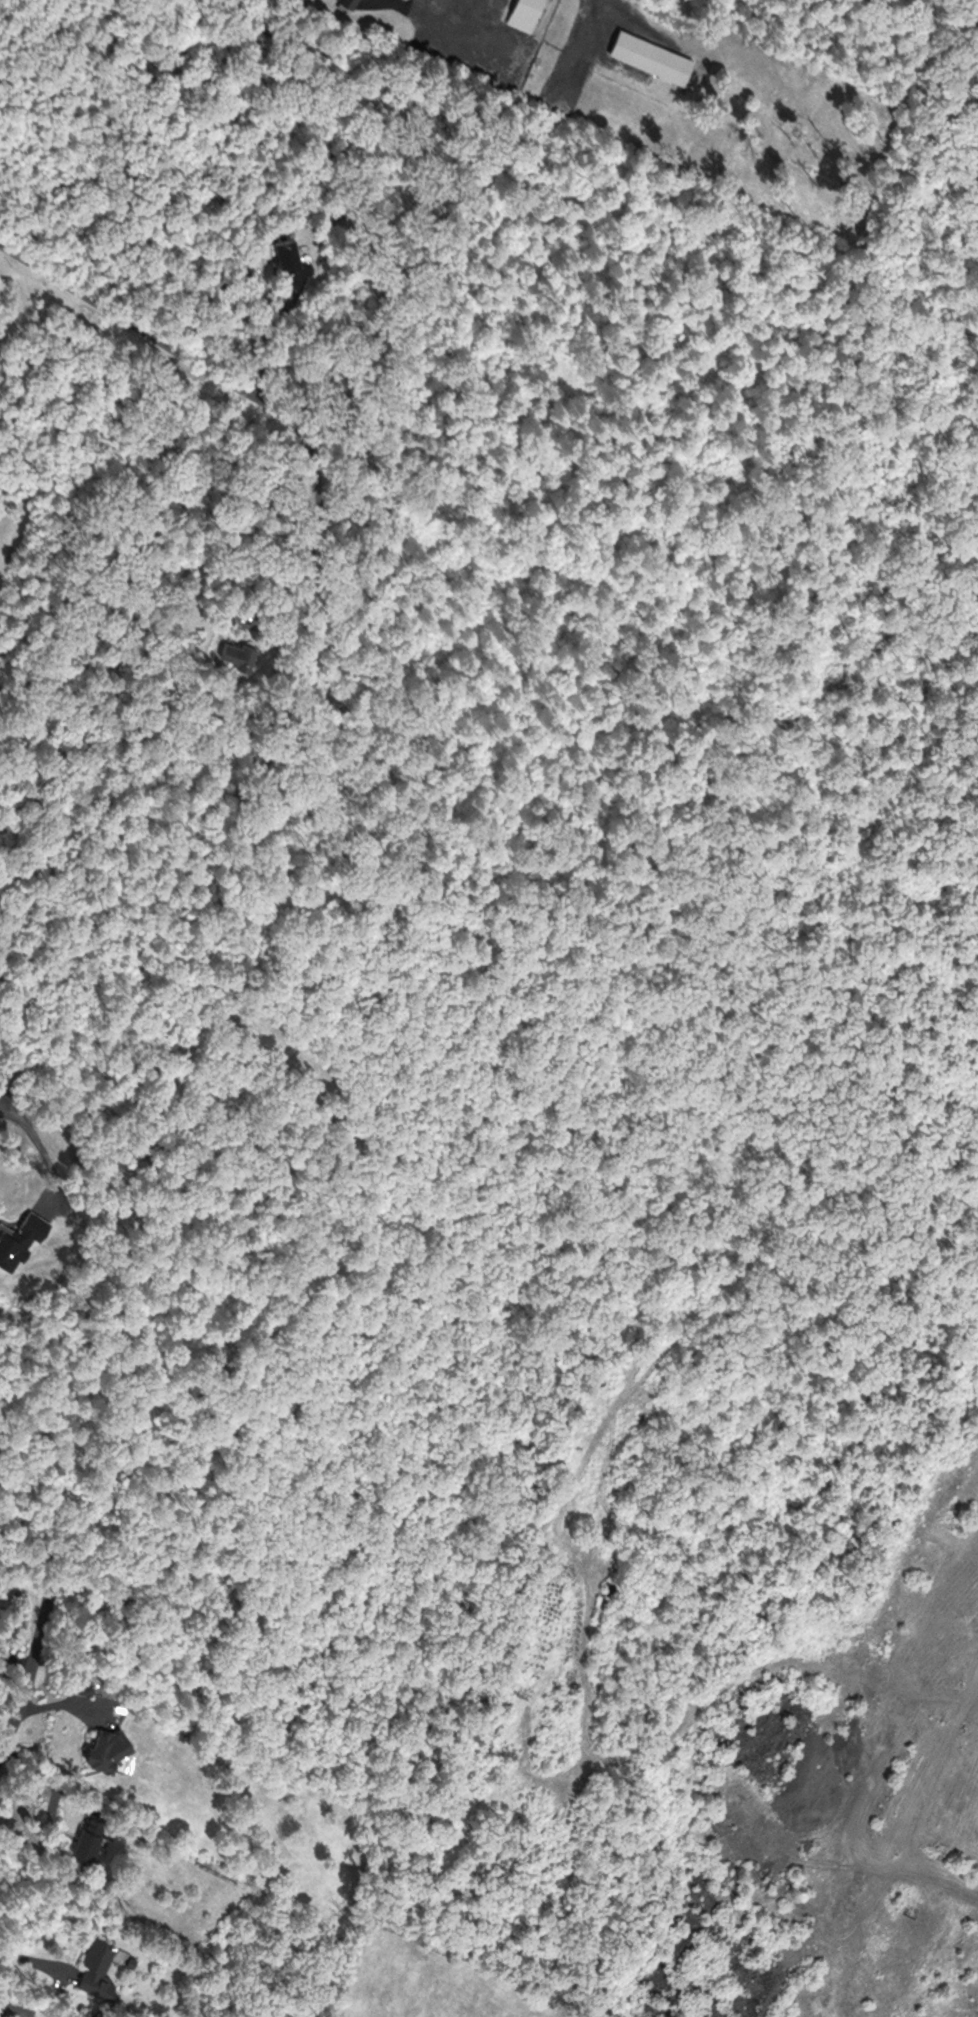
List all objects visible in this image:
building: (350, 2)
road: (418, 8)
road: (625, 8)
building: (525, 13)
road: (443, 30)
building: (648, 53)
building: (292, 256)
road: (255, 328)
road: (220, 381)
building: (238, 650)
building: (556, 1460)
building: (542, 1520)
road: (15, 1656)
road: (29, 1667)
building: (99, 1748)
building: (85, 1835)
road: (26, 1953)
building: (93, 1962)

